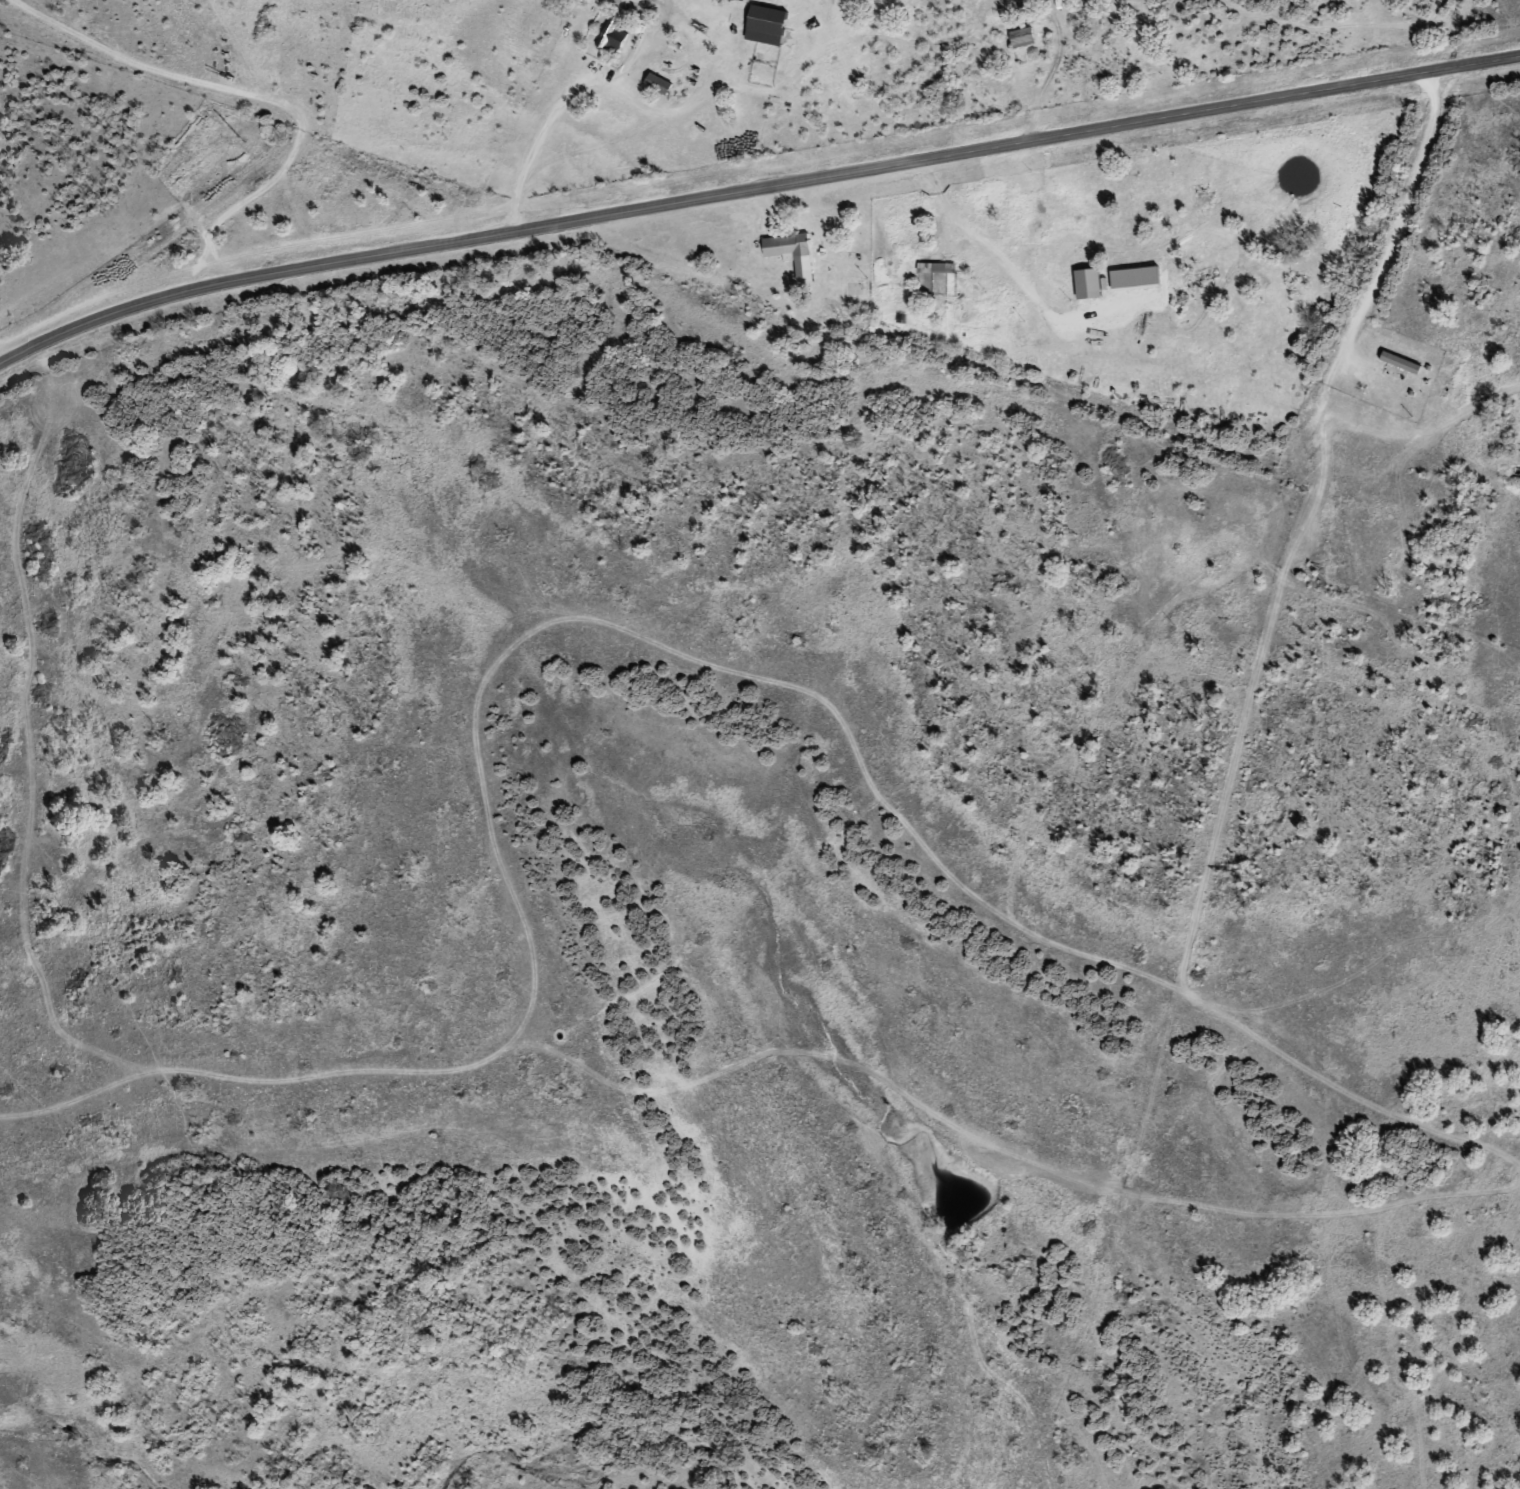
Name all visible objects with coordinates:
building: (770, 25)
building: (616, 37)
building: (1025, 37)
building: (662, 84)
power tower: (242, 140)
road: (753, 189)
building: (791, 246)
building: (940, 267)
building: (1092, 282)
building: (1394, 384)
road: (1096, 427)

